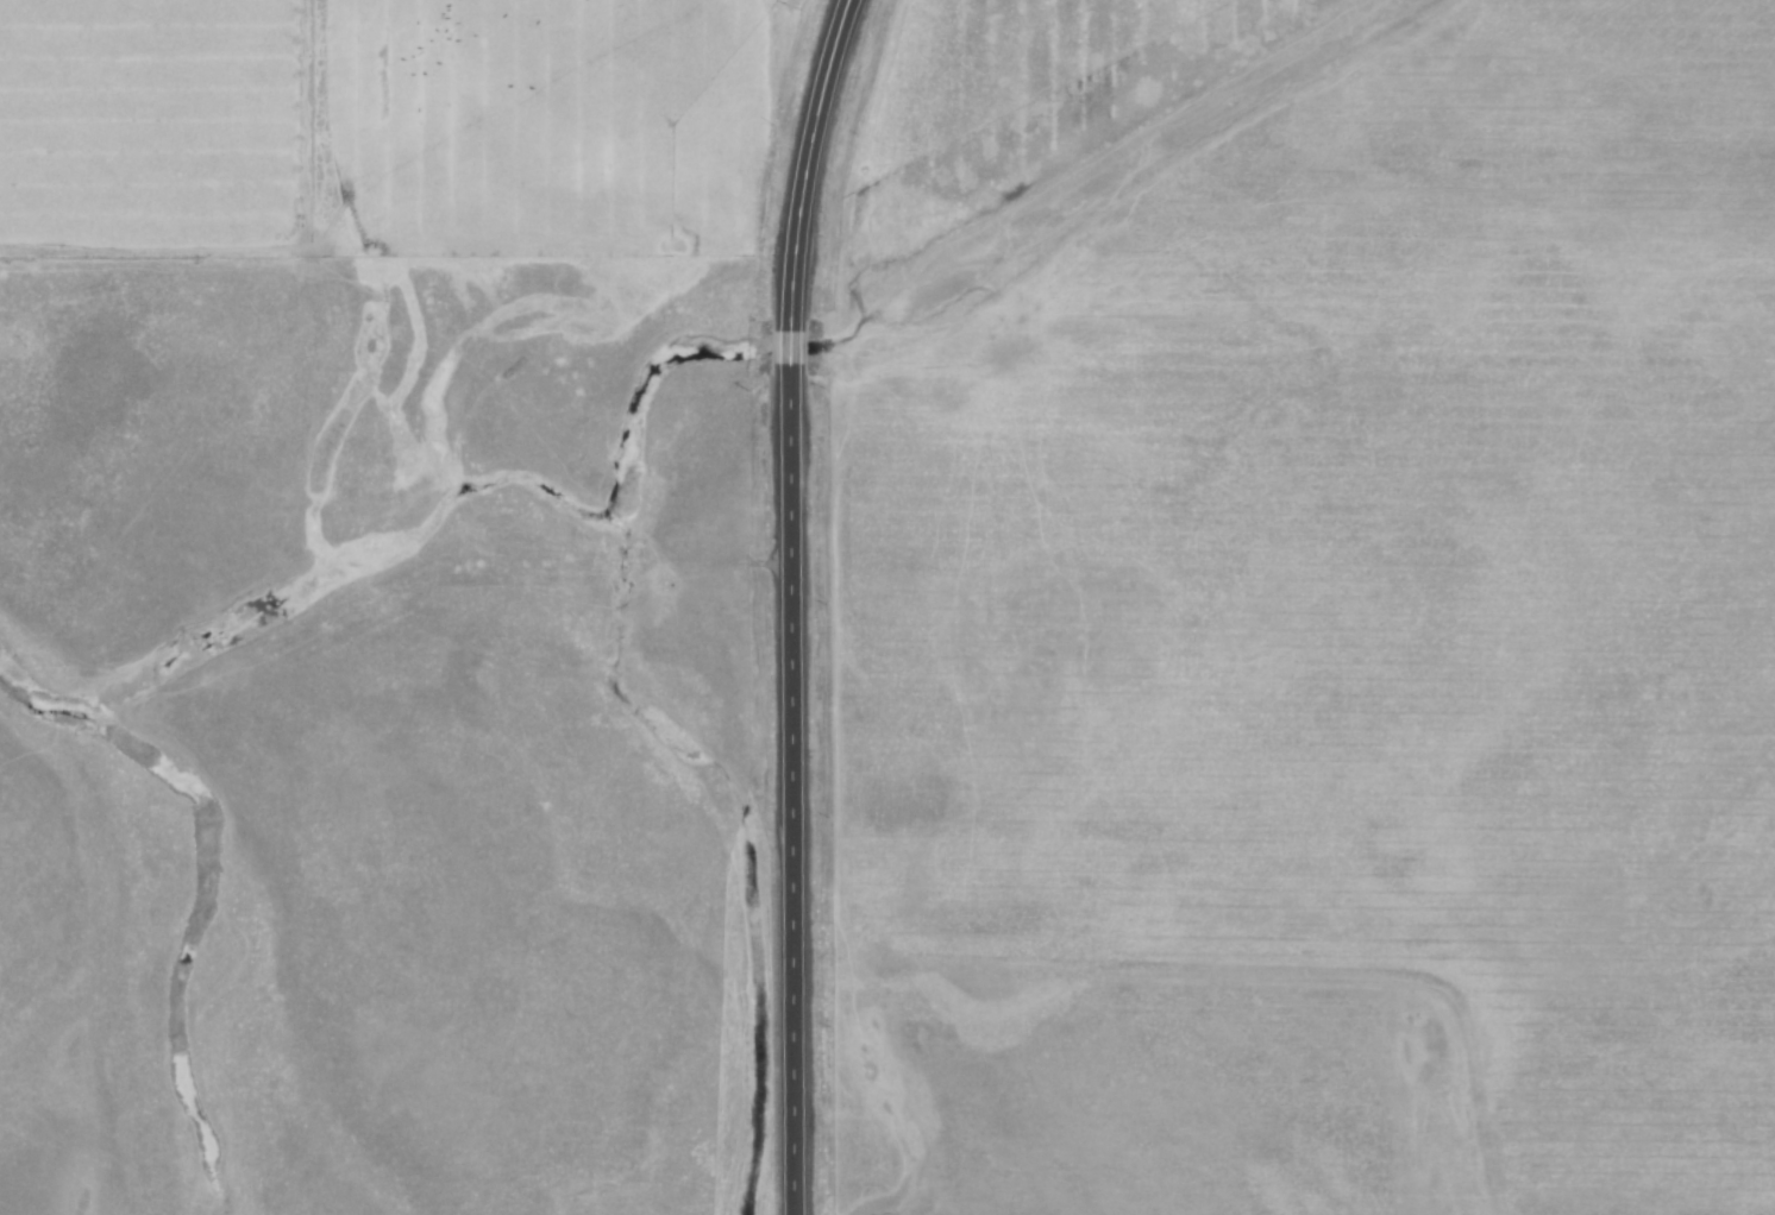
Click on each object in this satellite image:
road: (803, 603)

